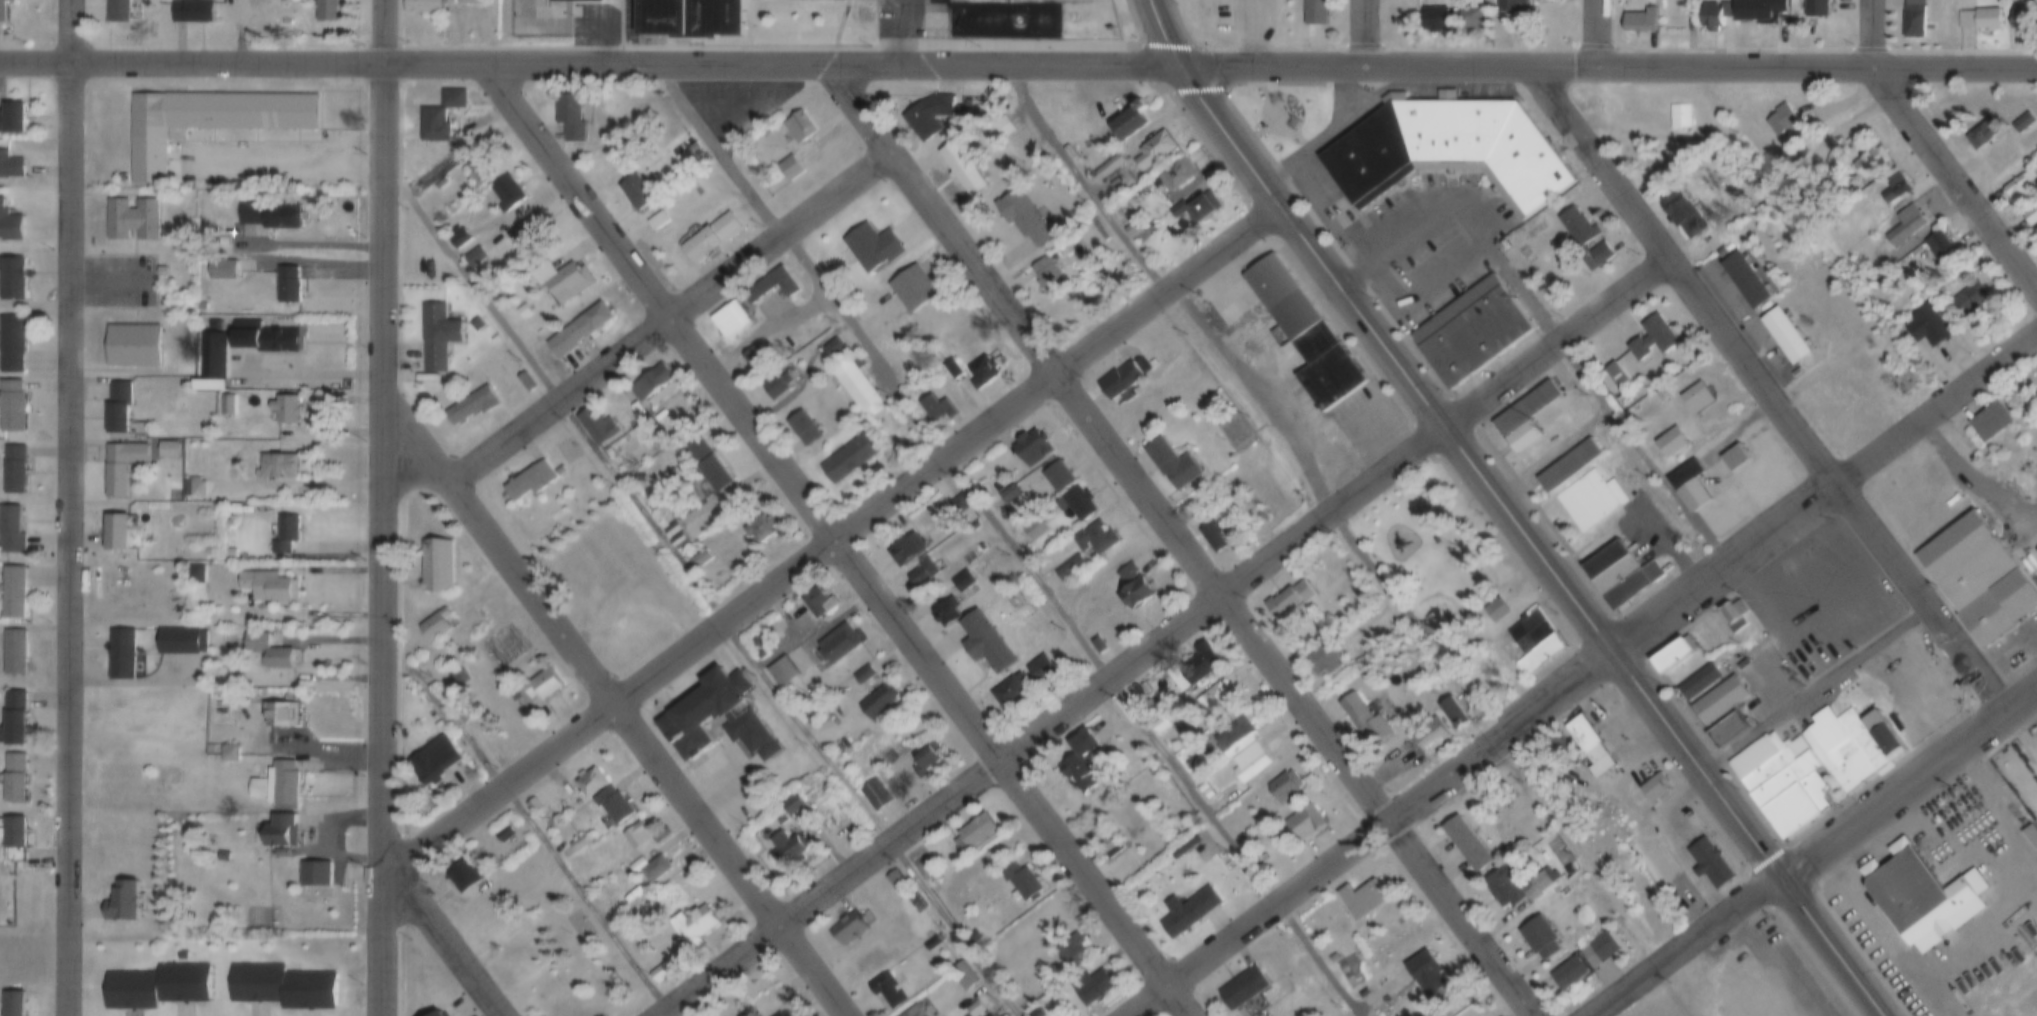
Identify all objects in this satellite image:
building: (576, 0)
building: (1547, 0)
building: (428, 5)
building: (1507, 5)
building: (1755, 10)
building: (1815, 10)
building: (1, 11)
building: (326, 11)
building: (118, 12)
building: (194, 12)
building: (1314, 13)
parking lot: (898, 16)
building: (1714, 16)
building: (692, 18)
building: (1432, 19)
building: (1468, 19)
building: (1640, 20)
building: (1911, 21)
building: (2015, 22)
building: (1980, 24)
road: (71, 32)
road: (384, 32)
road: (1375, 35)
road: (1603, 35)
road: (906, 36)
road: (1869, 36)
road: (1170, 38)
road: (599, 67)
road: (1959, 69)
road: (1540, 70)
building: (452, 95)
building: (567, 111)
building: (929, 114)
building: (1678, 115)
building: (11, 118)
building: (206, 118)
building: (1128, 121)
building: (1778, 121)
building: (999, 122)
building: (433, 124)
building: (798, 125)
building: (2017, 126)
building: (1978, 135)
building: (1447, 145)
building: (1153, 148)
parking lot: (263, 156)
building: (789, 165)
building: (1107, 165)
building: (9, 167)
building: (962, 167)
building: (1865, 168)
building: (476, 170)
building: (1176, 172)
building: (118, 175)
road: (1960, 177)
building: (1894, 188)
building: (2019, 188)
building: (636, 189)
building: (507, 190)
building: (1176, 207)
building: (1200, 208)
building: (250, 209)
building: (1022, 214)
road: (1483, 214)
building: (1680, 216)
building: (654, 217)
building: (2030, 218)
building: (130, 219)
building: (280, 221)
building: (9, 225)
building: (1903, 226)
building: (1576, 229)
building: (527, 230)
building: (709, 233)
building: (457, 236)
building: (871, 243)
building: (1937, 246)
building: (1599, 253)
building: (473, 254)
building: (1719, 255)
building: (222, 267)
building: (1048, 272)
parking lot: (116, 278)
building: (11, 279)
building: (566, 280)
building: (287, 282)
building: (773, 282)
building: (913, 285)
building: (1745, 287)
building: (1963, 302)
building: (522, 307)
building: (1290, 311)
road: (670, 315)
building: (729, 318)
building: (1924, 325)
building: (577, 328)
building: (1470, 333)
building: (437, 334)
building: (261, 335)
building: (1652, 342)
building: (1785, 342)
building: (132, 343)
building: (11, 344)
building: (832, 344)
road: (1558, 344)
building: (212, 354)
building: (754, 354)
building: (1151, 359)
road: (1234, 365)
building: (952, 366)
building: (983, 370)
building: (1618, 373)
building: (1121, 377)
building: (854, 378)
building: (1904, 378)
building: (526, 379)
building: (1331, 380)
building: (1615, 380)
building: (650, 381)
building: (775, 383)
road: (1769, 396)
building: (1211, 398)
building: (227, 403)
building: (471, 404)
building: (116, 405)
building: (1697, 405)
building: (11, 406)
building: (934, 406)
building: (635, 407)
building: (284, 408)
building: (672, 417)
building: (1523, 418)
building: (1989, 422)
building: (802, 424)
building: (596, 425)
building: (228, 431)
building: (167, 447)
building: (1030, 448)
building: (1671, 448)
building: (848, 456)
building: (1739, 456)
building: (706, 462)
building: (1171, 463)
building: (120, 465)
building: (277, 465)
building: (1735, 465)
building: (1566, 466)
building: (13, 469)
building: (1057, 476)
building: (529, 481)
building: (193, 485)
building: (1690, 489)
building: (1007, 493)
road: (1825, 496)
building: (1588, 498)
building: (961, 504)
building: (1079, 504)
building: (755, 523)
building: (673, 525)
building: (10, 531)
building: (284, 533)
building: (115, 534)
building: (1211, 535)
building: (1094, 536)
building: (676, 538)
road: (69, 540)
road: (385, 540)
road: (840, 541)
road: (841, 544)
park: (1421, 544)
road: (1009, 545)
road: (1185, 546)
building: (906, 548)
road: (1535, 550)
building: (231, 551)
building: (698, 556)
building: (1604, 560)
building: (1963, 560)
building: (435, 564)
building: (1069, 567)
building: (920, 571)
building: (195, 573)
building: (1614, 575)
building: (961, 580)
building: (1631, 584)
building: (268, 585)
building: (1134, 589)
road: (707, 591)
building: (11, 593)
building: (816, 600)
building: (1287, 600)
parking lot: (1826, 604)
building: (1997, 608)
building: (1734, 609)
building: (1494, 610)
building: (481, 612)
building: (945, 612)
building: (434, 623)
building: (1435, 625)
building: (1529, 630)
building: (177, 639)
building: (837, 642)
building: (1095, 642)
building: (12, 650)
building: (267, 650)
building: (2007, 650)
building: (121, 653)
building: (1539, 653)
building: (1674, 654)
building: (1321, 661)
building: (1201, 662)
building: (1039, 669)
building: (781, 670)
building: (861, 672)
building: (1708, 676)
parking lot: (1772, 680)
parking lot: (1918, 681)
building: (540, 686)
building: (1008, 691)
building: (1719, 698)
building: (1211, 700)
building: (876, 701)
road: (620, 706)
building: (712, 712)
building: (280, 713)
building: (13, 718)
building: (1450, 718)
road: (1059, 722)
building: (1362, 722)
building: (1726, 727)
building: (1883, 734)
building: (1233, 739)
building: (1429, 741)
building: (1558, 744)
building: (1588, 744)
building: (1844, 746)
building: (230, 749)
building: (433, 759)
building: (1248, 761)
building: (925, 762)
building: (1082, 762)
building: (171, 772)
building: (12, 778)
building: (589, 779)
building: (1781, 780)
building: (276, 783)
building: (1652, 785)
building: (1283, 786)
road: (1911, 789)
building: (874, 794)
building: (788, 800)
building: (533, 803)
building: (612, 803)
building: (217, 804)
building: (1300, 821)
building: (975, 830)
road: (1372, 830)
building: (280, 831)
building: (643, 832)
building: (11, 834)
building: (2030, 834)
building: (577, 840)
building: (1106, 842)
building: (1633, 845)
building: (791, 847)
building: (1466, 847)
building: (223, 851)
building: (1709, 861)
building: (649, 865)
building: (315, 870)
building: (624, 873)
building: (463, 876)
building: (1661, 877)
building: (895, 880)
building: (1018, 881)
building: (1541, 882)
building: (1500, 891)
building: (1921, 893)
building: (1361, 899)
building: (121, 905)
building: (1188, 911)
building: (846, 928)
building: (692, 929)
road: (444, 937)
building: (930, 943)
building: (1536, 943)
building: (1600, 948)
road: (1689, 948)
building: (1070, 949)
building: (1331, 953)
building: (868, 963)
building: (1036, 968)
building: (659, 971)
building: (1424, 974)
building: (961, 976)
building: (1566, 979)
building: (283, 982)
building: (156, 983)
building: (1242, 987)
building: (1087, 988)
building: (1361, 989)
building: (885, 990)
building: (11, 1004)
building: (972, 1008)
building: (912, 1011)
building: (1039, 1012)
building: (786, 1013)
building: (437, 1015)
building: (778, 1015)

